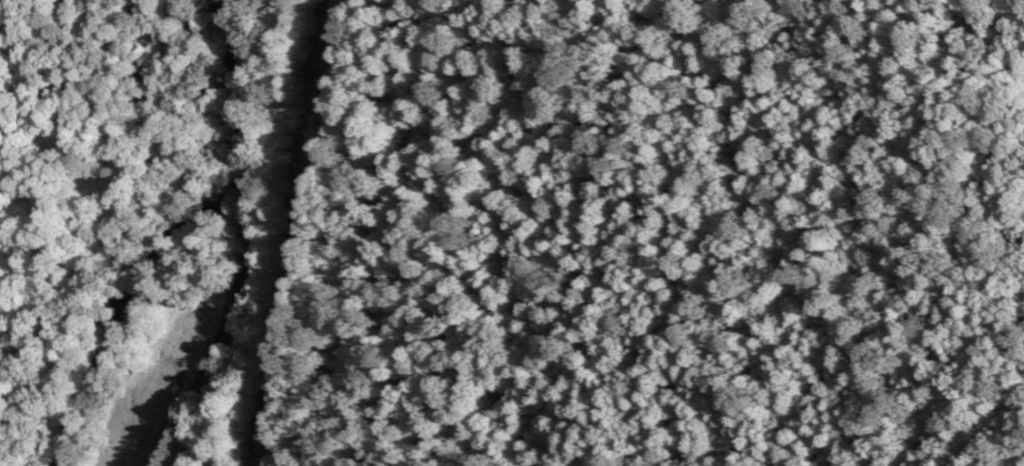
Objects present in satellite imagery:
road: (248, 241)

